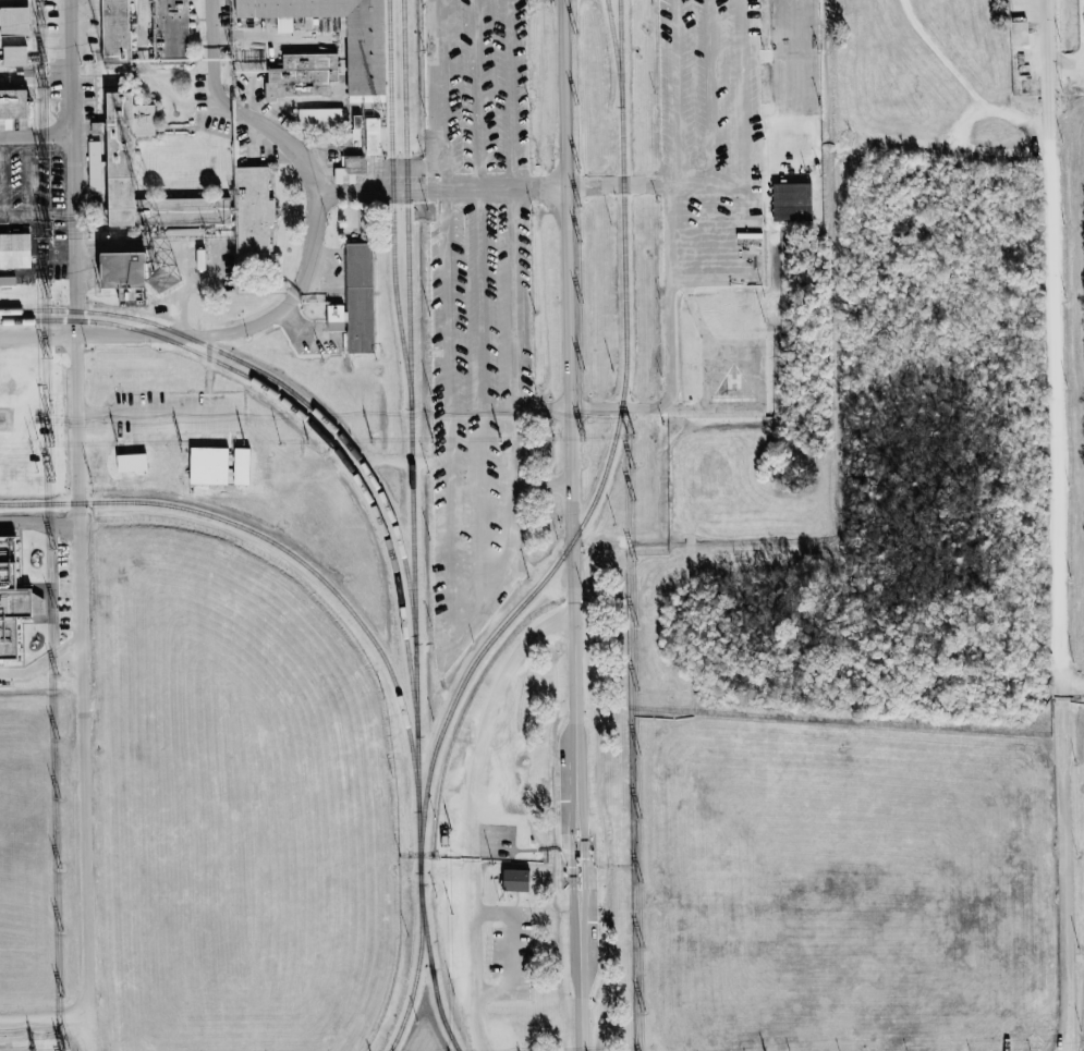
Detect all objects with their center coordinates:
building: (14, 21)
building: (344, 27)
building: (172, 29)
building: (117, 32)
railway: (616, 52)
building: (15, 56)
building: (366, 59)
building: (297, 74)
parking lot: (479, 87)
building: (14, 103)
road: (237, 109)
building: (320, 118)
road: (38, 132)
building: (368, 133)
road: (1, 134)
parking lot: (716, 143)
building: (789, 156)
building: (95, 166)
building: (351, 167)
road: (28, 173)
building: (253, 182)
road: (492, 188)
building: (791, 201)
railway: (392, 204)
road: (2, 211)
building: (15, 250)
building: (125, 271)
building: (360, 297)
road: (569, 307)
road: (243, 328)
road: (38, 335)
helipad: (734, 382)
railway: (283, 386)
road: (669, 389)
railway: (410, 404)
parking lot: (480, 416)
railway: (312, 423)
building: (132, 463)
road: (39, 522)
road: (1058, 525)
railway: (570, 545)
road: (78, 555)
railway: (314, 571)
building: (11, 586)
road: (40, 663)
road: (472, 814)
road: (575, 833)
building: (516, 879)
railway: (431, 968)

